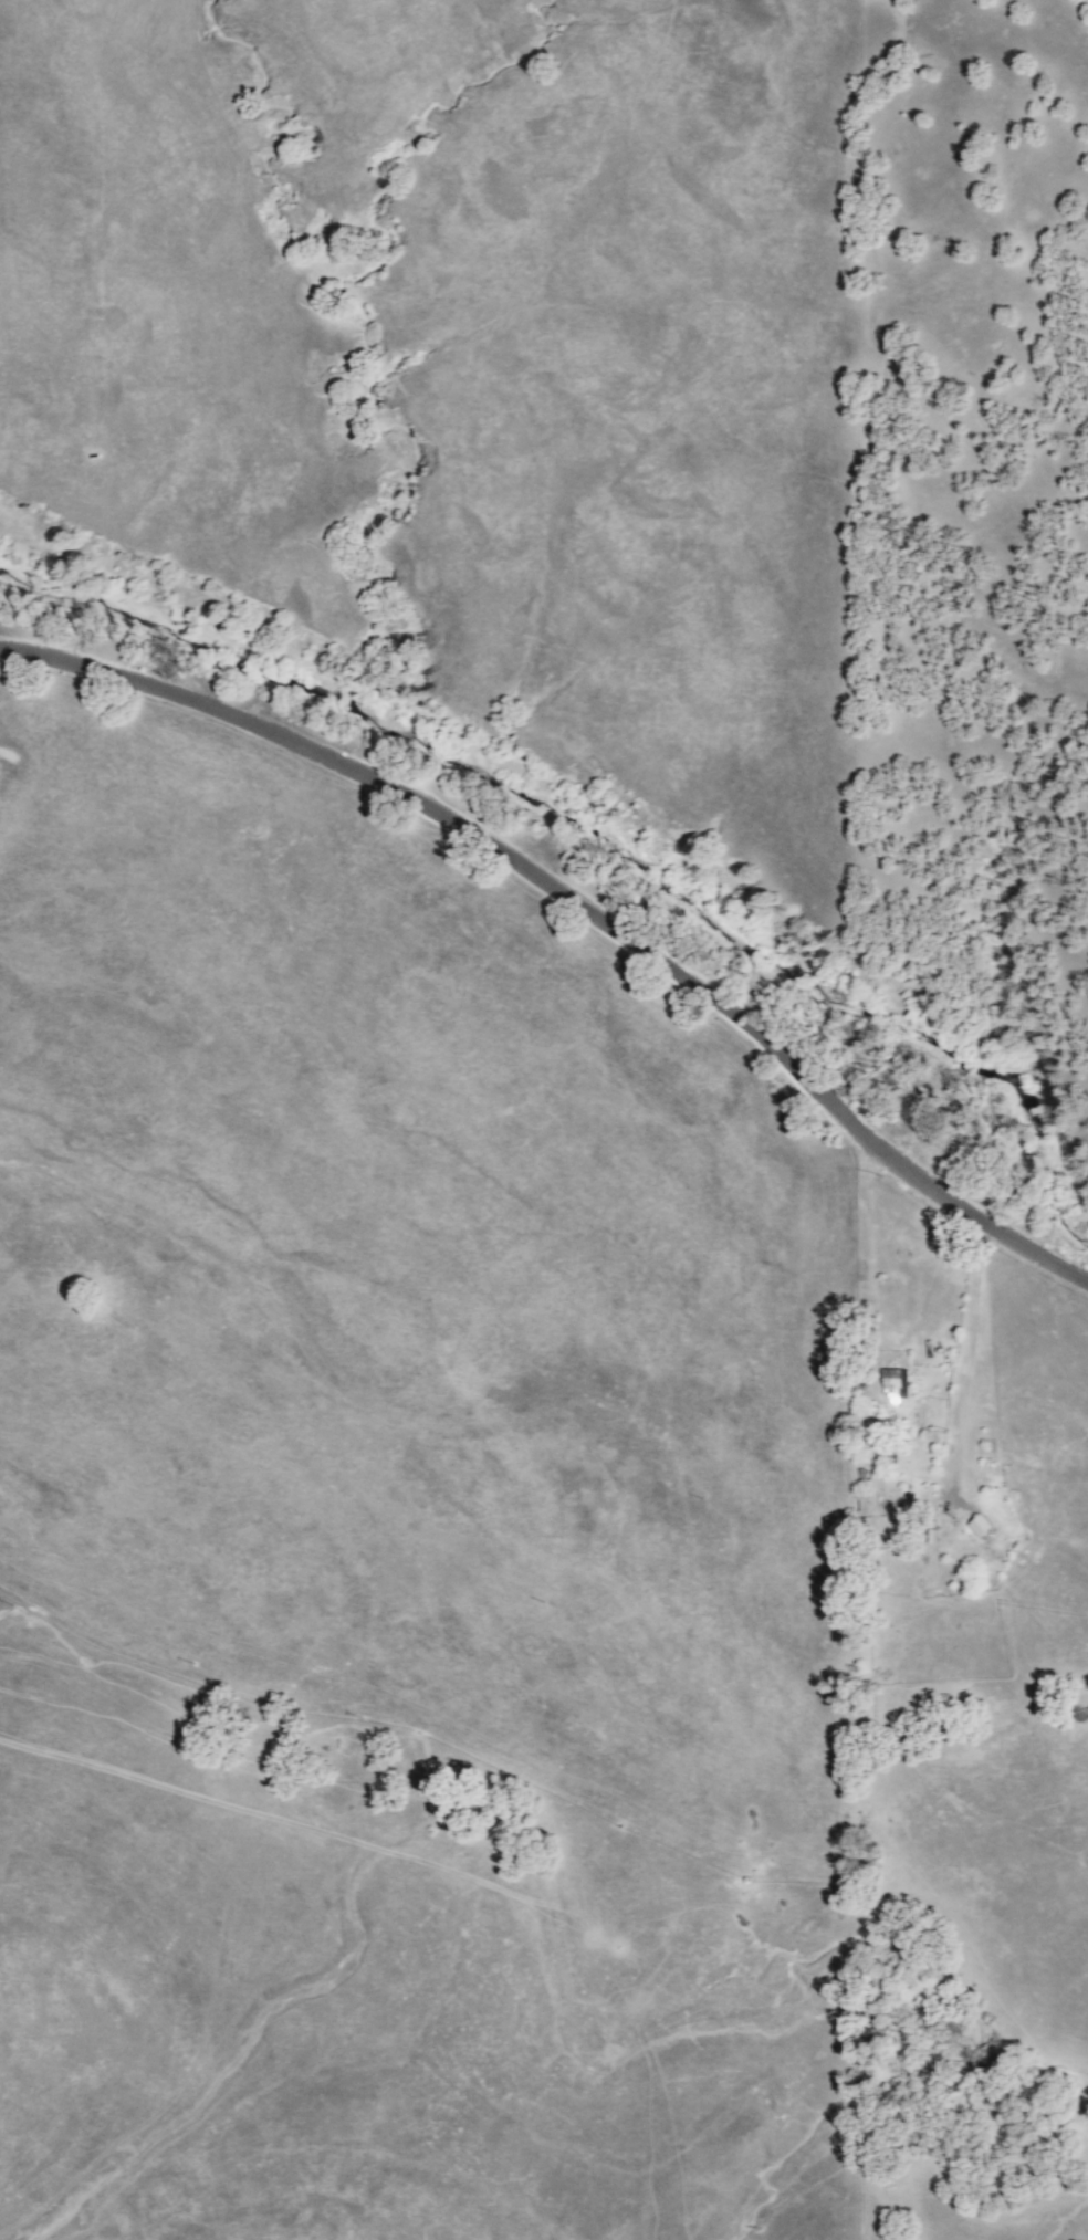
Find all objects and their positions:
river: (598, 830)
road: (578, 902)
building: (981, 1526)

